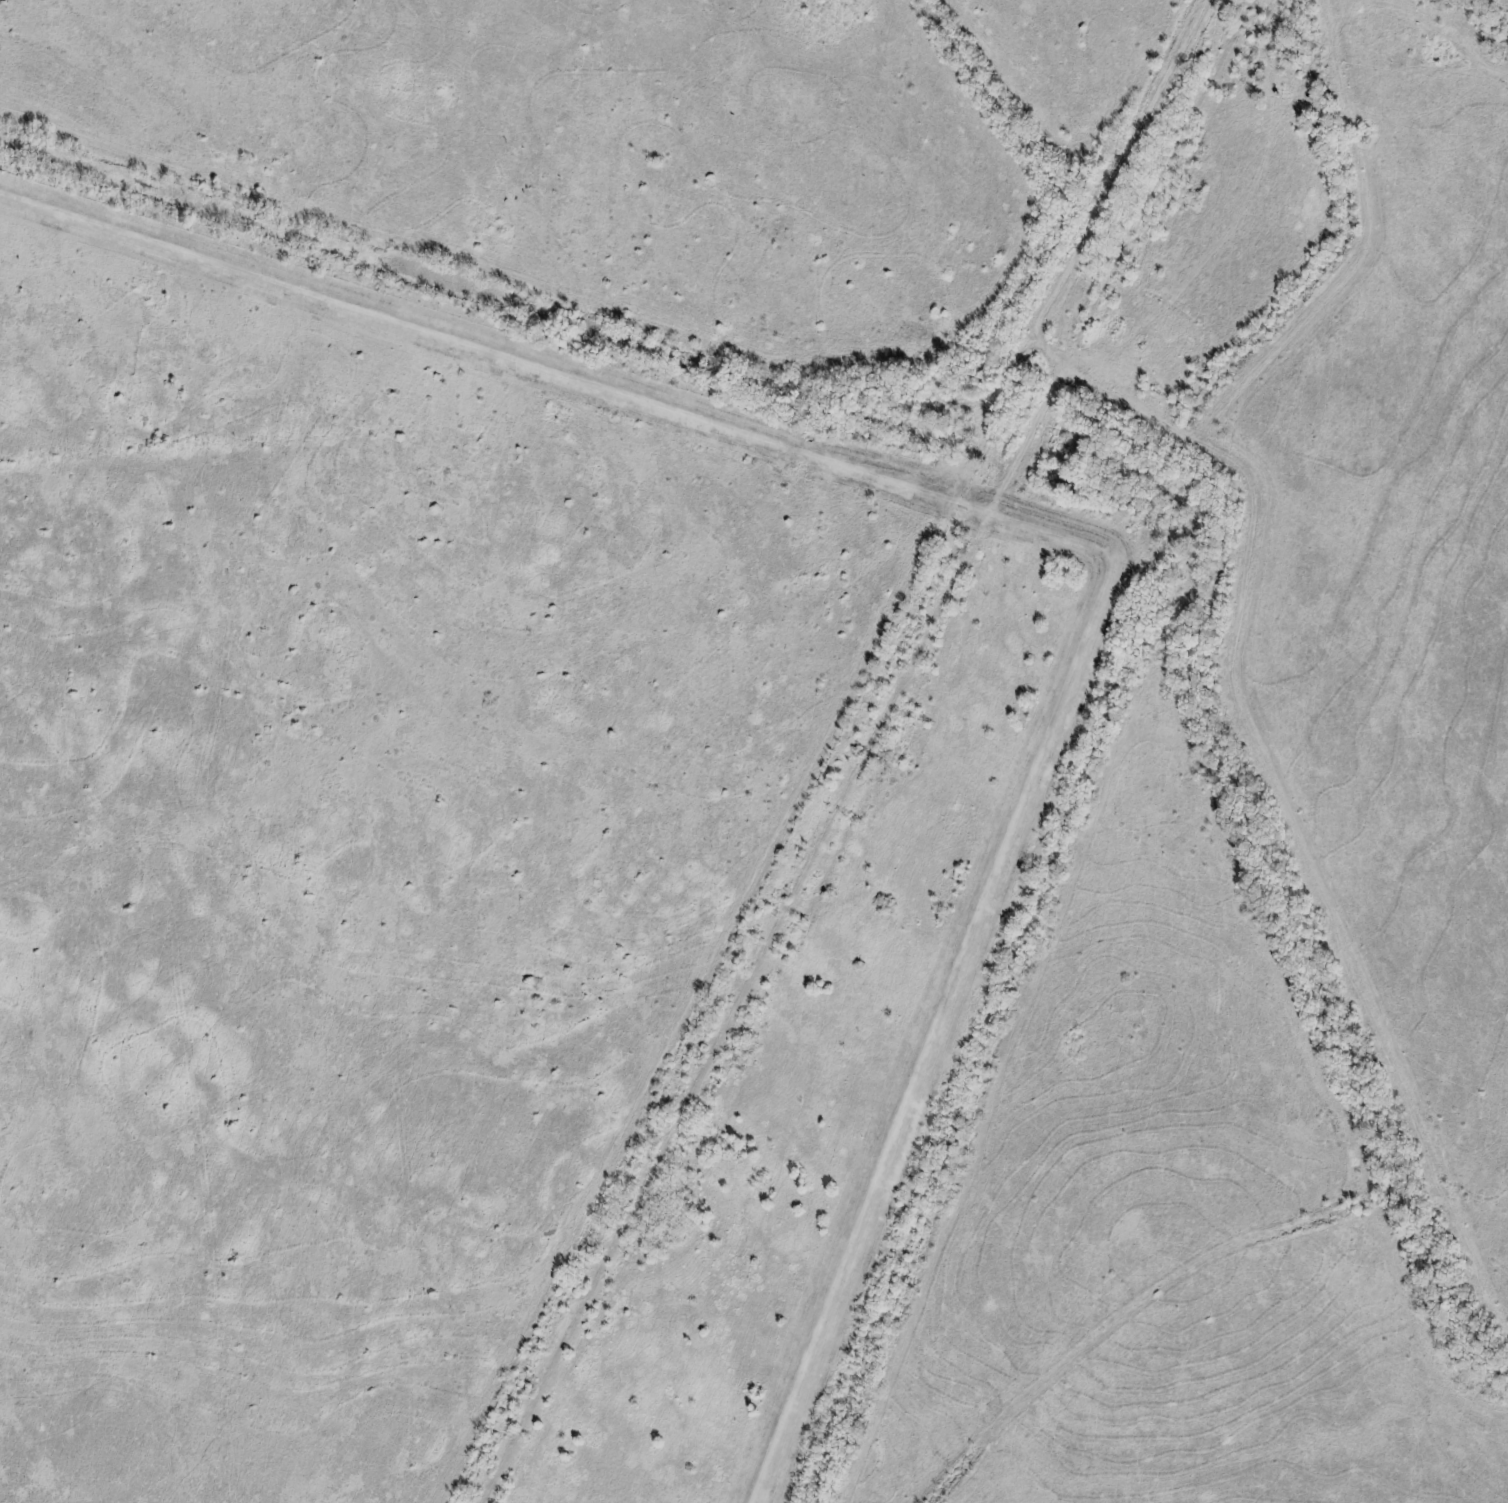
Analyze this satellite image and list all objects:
road: (994, 508)
railway: (865, 749)

